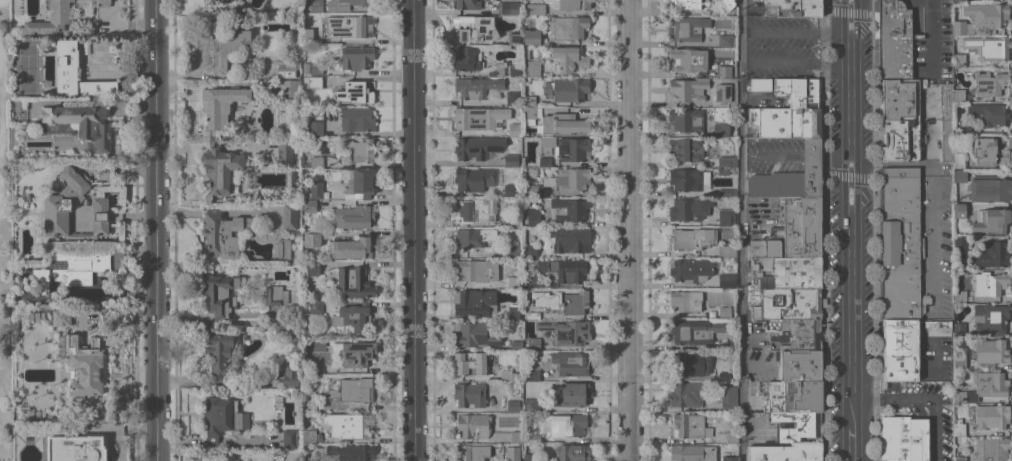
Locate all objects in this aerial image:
building: (222, 1)
building: (355, 2)
building: (688, 3)
building: (468, 4)
building: (569, 4)
building: (727, 5)
building: (312, 6)
building: (509, 7)
parking lot: (754, 8)
building: (793, 8)
building: (534, 9)
road: (850, 12)
building: (987, 14)
building: (59, 16)
building: (776, 22)
building: (349, 26)
building: (567, 27)
building: (687, 28)
building: (959, 28)
building: (474, 29)
road: (797, 31)
building: (306, 35)
building: (531, 36)
road: (935, 36)
building: (513, 38)
building: (892, 39)
building: (723, 40)
parking lot: (933, 40)
building: (225, 46)
parking lot: (783, 47)
building: (801, 47)
building: (994, 48)
building: (525, 52)
building: (121, 53)
building: (356, 57)
building: (569, 58)
building: (469, 59)
building: (689, 59)
building: (960, 60)
road: (797, 62)
park: (27, 68)
building: (287, 68)
building: (306, 68)
building: (316, 68)
building: (533, 68)
building: (504, 70)
building: (724, 71)
building: (75, 73)
building: (310, 81)
building: (923, 83)
building: (989, 83)
building: (760, 84)
building: (478, 87)
building: (289, 88)
building: (570, 89)
building: (687, 89)
building: (726, 91)
building: (799, 91)
building: (355, 93)
building: (958, 95)
building: (512, 98)
building: (770, 99)
building: (895, 99)
building: (528, 100)
building: (946, 101)
building: (221, 104)
building: (17, 109)
building: (529, 112)
building: (312, 113)
building: (990, 113)
building: (478, 117)
building: (357, 118)
building: (685, 120)
building: (786, 122)
building: (563, 123)
building: (79, 124)
building: (315, 129)
building: (513, 129)
building: (721, 129)
building: (962, 130)
building: (946, 139)
building: (899, 140)
building: (547, 141)
building: (477, 147)
building: (295, 148)
building: (359, 149)
building: (572, 149)
building: (686, 149)
building: (989, 151)
building: (272, 152)
building: (284, 153)
parking lot: (774, 153)
road: (798, 155)
building: (301, 159)
building: (511, 160)
building: (959, 160)
building: (523, 161)
building: (545, 161)
building: (727, 161)
building: (314, 162)
building: (222, 170)
building: (723, 170)
building: (959, 175)
building: (791, 176)
road: (851, 176)
building: (293, 178)
building: (475, 178)
building: (570, 179)
building: (686, 179)
road: (937, 181)
building: (356, 182)
building: (316, 189)
building: (511, 189)
building: (533, 189)
building: (991, 189)
building: (727, 192)
building: (730, 202)
building: (309, 205)
building: (57, 206)
parking lot: (936, 206)
building: (570, 208)
building: (689, 209)
building: (476, 210)
building: (959, 210)
road: (850, 213)
building: (289, 215)
building: (534, 215)
building: (353, 216)
building: (726, 217)
parking lot: (763, 217)
building: (515, 220)
building: (992, 221)
park: (3, 222)
building: (802, 226)
road: (155, 230)
road: (412, 230)
road: (627, 230)
road: (745, 230)
building: (222, 233)
building: (294, 234)
building: (474, 237)
building: (692, 238)
building: (570, 239)
building: (311, 240)
building: (960, 243)
building: (901, 244)
building: (283, 248)
building: (352, 248)
building: (764, 248)
building: (515, 250)
building: (727, 250)
building: (530, 251)
building: (991, 254)
building: (71, 268)
building: (311, 268)
building: (565, 269)
building: (691, 269)
building: (476, 270)
building: (513, 280)
building: (727, 280)
building: (353, 282)
building: (989, 283)
building: (533, 284)
building: (543, 284)
building: (786, 288)
building: (219, 293)
building: (276, 295)
building: (960, 296)
building: (545, 300)
building: (686, 300)
building: (474, 301)
building: (575, 302)
building: (315, 306)
building: (514, 311)
building: (725, 312)
building: (533, 315)
building: (353, 316)
building: (61, 317)
building: (991, 317)
building: (938, 327)
building: (959, 328)
building: (567, 331)
building: (690, 332)
building: (476, 334)
building: (798, 334)
parking lot: (758, 336)
building: (533, 343)
building: (730, 344)
building: (516, 345)
building: (900, 348)
building: (219, 352)
building: (990, 352)
building: (357, 353)
parking lot: (936, 360)
building: (572, 362)
building: (959, 362)
building: (470, 363)
building: (692, 363)
building: (84, 365)
parking lot: (762, 365)
building: (800, 365)
building: (311, 366)
road: (759, 366)
building: (19, 372)
building: (290, 374)
building: (531, 374)
building: (508, 375)
building: (725, 375)
building: (733, 375)
building: (991, 383)
building: (228, 385)
building: (353, 390)
building: (469, 394)
building: (686, 394)
building: (569, 395)
building: (793, 396)
building: (966, 396)
building: (729, 398)
road: (922, 398)
building: (309, 404)
building: (512, 405)
parking lot: (754, 412)
parking lot: (925, 413)
building: (991, 416)
building: (222, 417)
building: (567, 423)
building: (356, 425)
building: (473, 425)
building: (759, 425)
building: (690, 426)
building: (797, 426)
building: (959, 427)
building: (309, 436)
building: (732, 436)
building: (516, 437)
building: (289, 438)
building: (534, 438)
building: (903, 438)
road: (851, 444)
building: (76, 448)
building: (991, 449)
building: (352, 452)
building: (471, 452)
building: (573, 452)
building: (785, 452)
building: (512, 453)
building: (692, 453)
building: (528, 457)
building: (730, 458)
building: (960, 458)
building: (309, 460)

